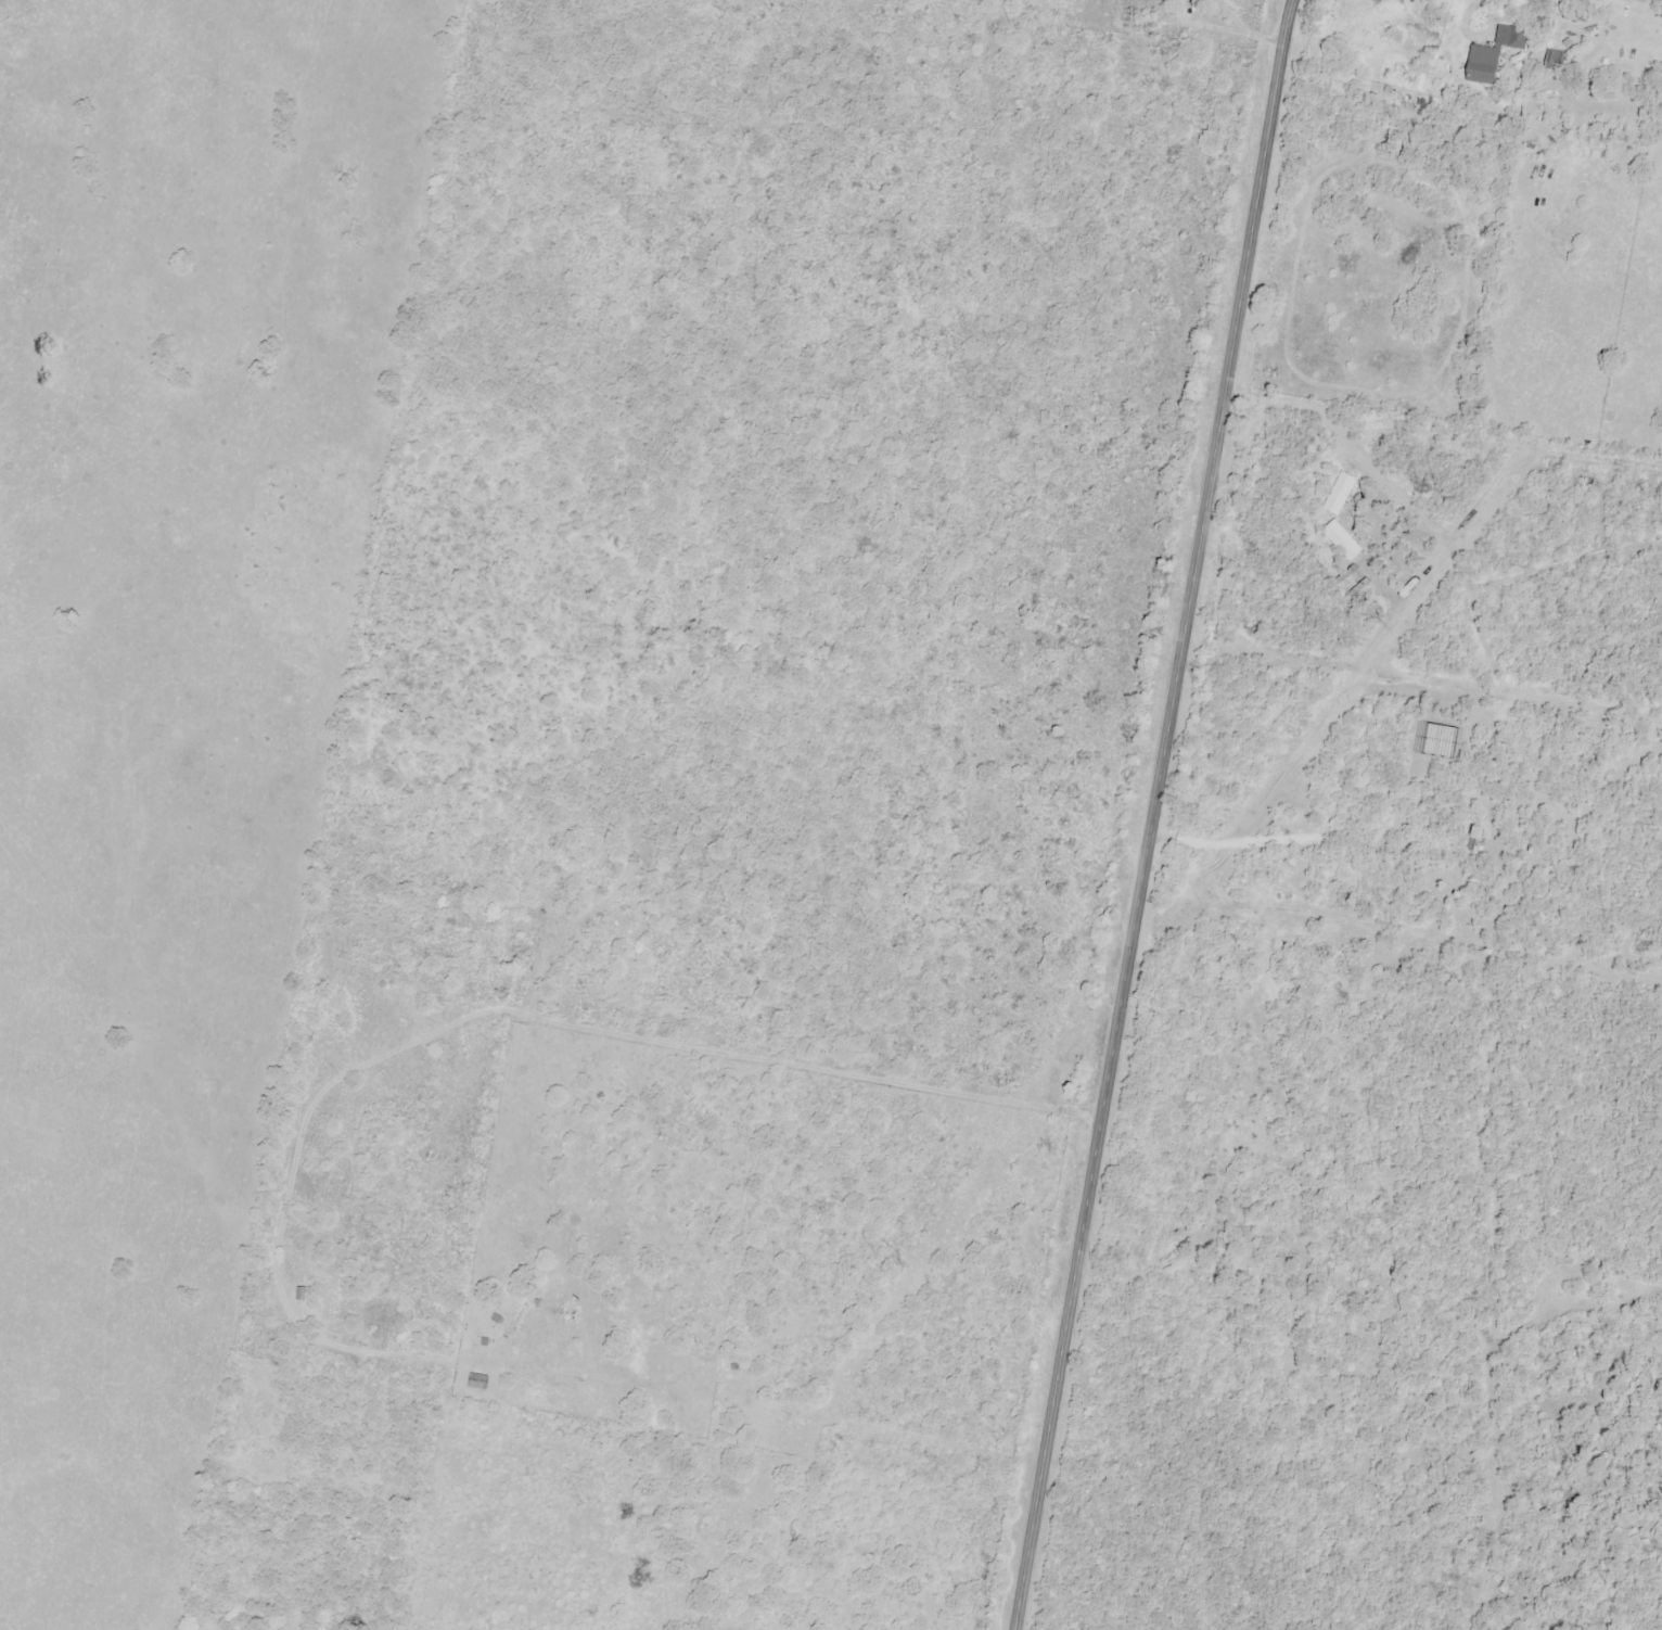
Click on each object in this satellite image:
building: (1513, 36)
building: (1548, 60)
building: (1475, 69)
building: (1341, 82)
road: (1150, 814)
building: (303, 1294)
building: (480, 1380)

